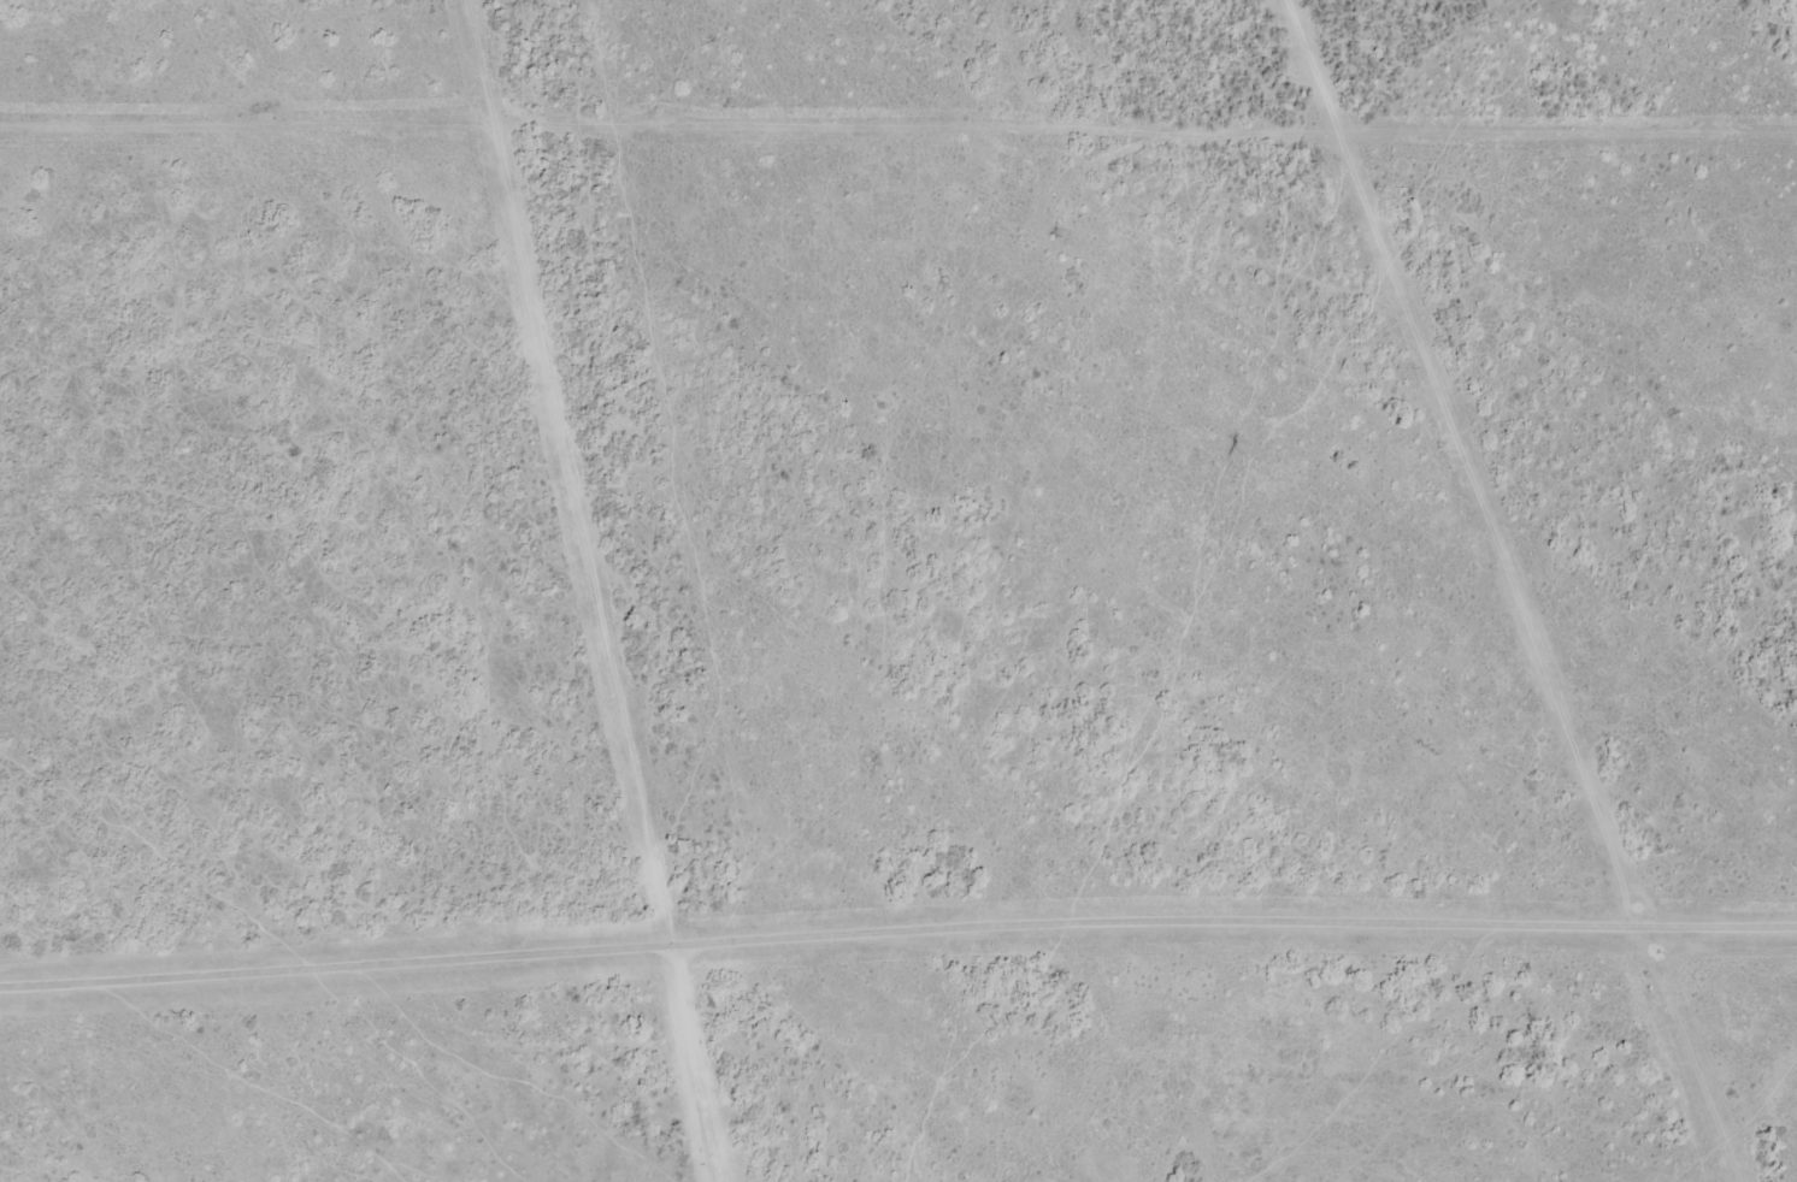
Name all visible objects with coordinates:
road: (897, 924)

